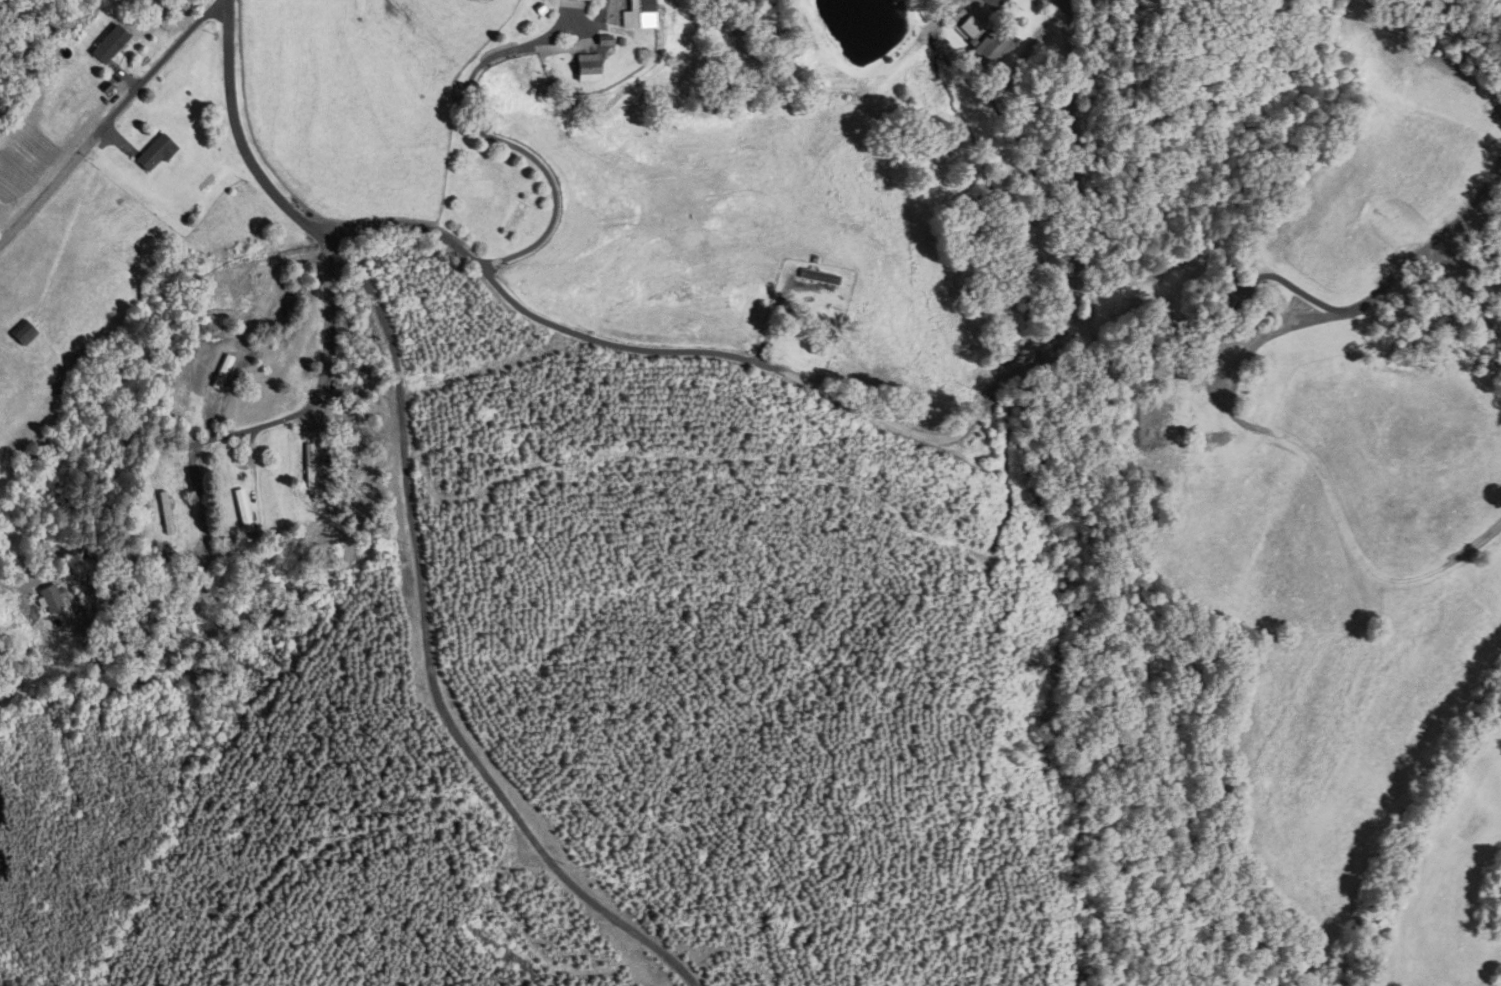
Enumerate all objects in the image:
building: (641, 14)
building: (113, 46)
building: (993, 47)
building: (587, 67)
road: (111, 119)
road: (478, 129)
building: (162, 153)
building: (527, 217)
building: (816, 277)
road: (1381, 287)
building: (1226, 320)
building: (24, 333)
building: (226, 371)
road: (327, 393)
road: (858, 409)
building: (312, 465)
building: (247, 510)
building: (170, 512)
road: (412, 516)
road: (13, 598)
building: (56, 599)

